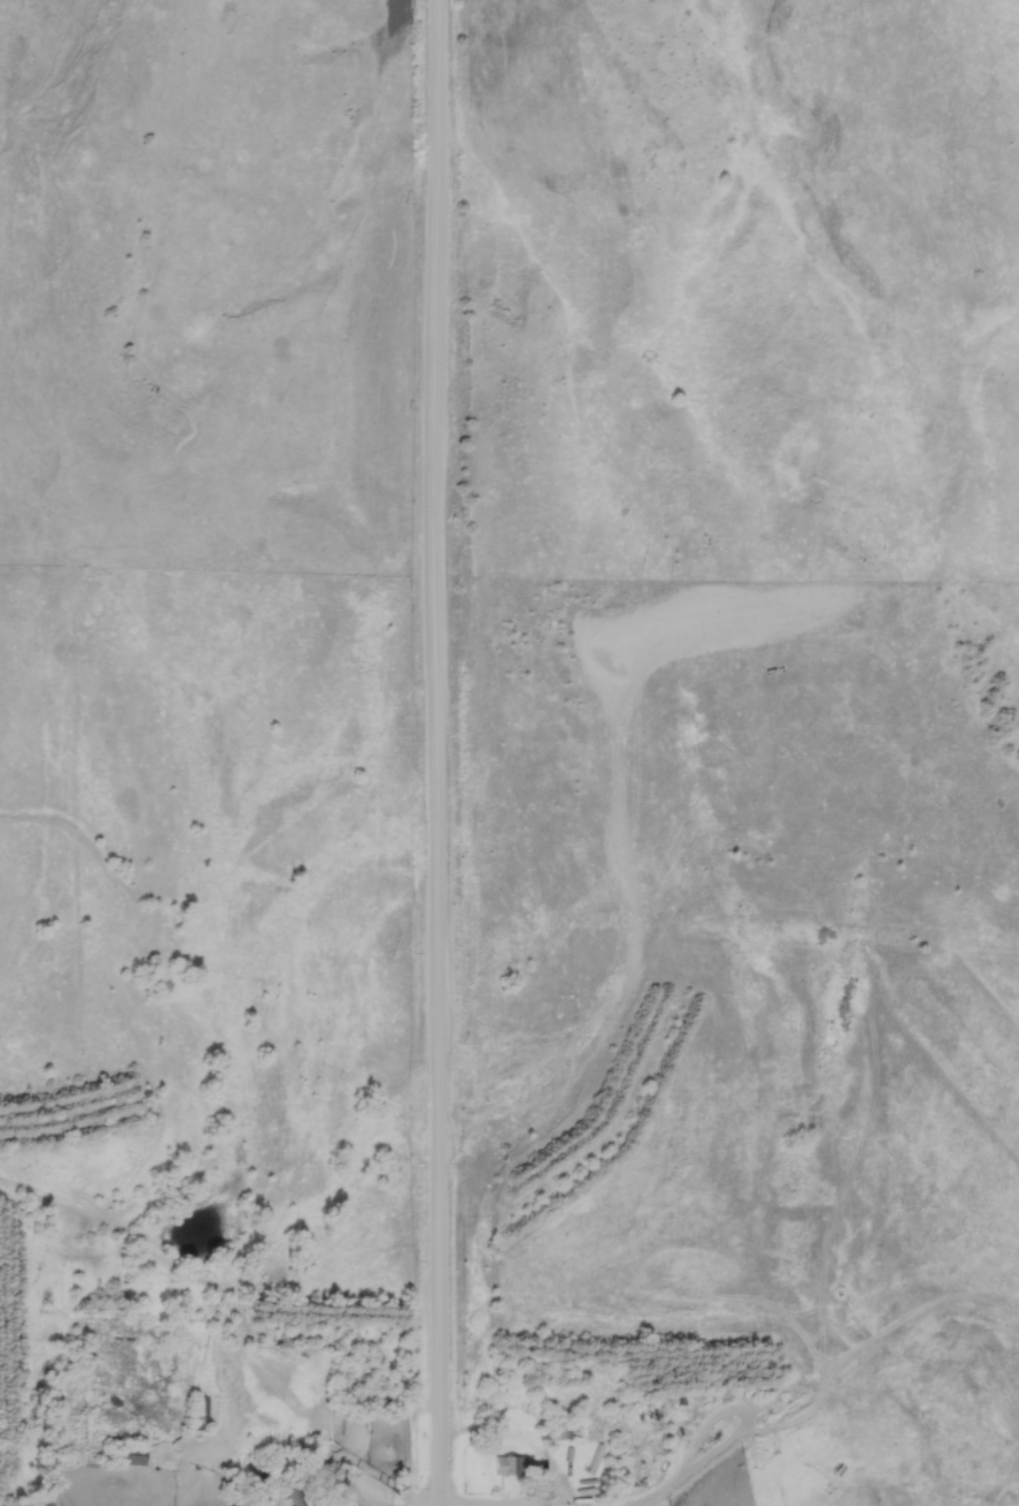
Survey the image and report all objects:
road: (434, 753)
building: (198, 1414)
building: (556, 1432)
building: (132, 1457)
building: (508, 1467)
building: (287, 1495)

